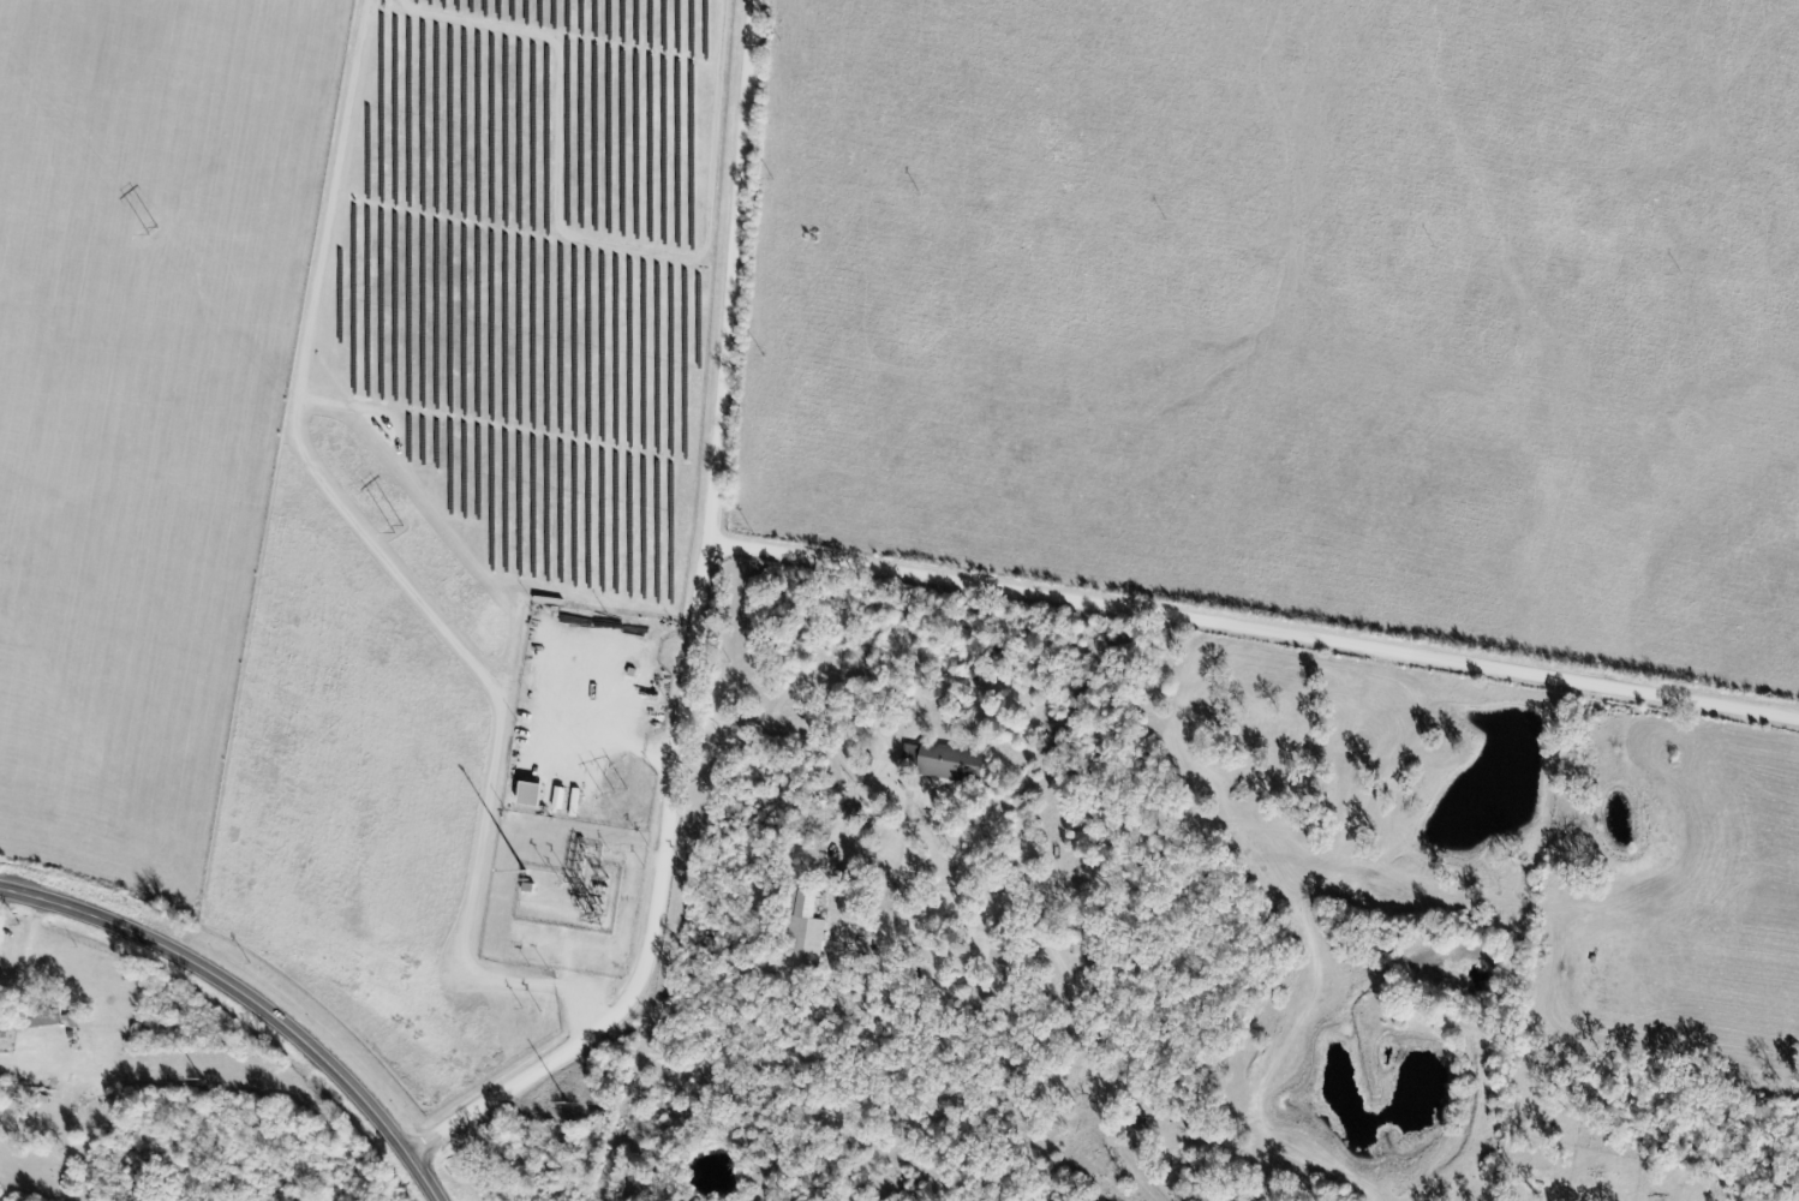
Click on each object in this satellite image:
power tower: (154, 232)
power tower: (399, 527)
road: (1255, 632)
road: (699, 637)
building: (955, 764)
power tower: (615, 793)
building: (536, 796)
power substation: (573, 891)
power tower: (599, 916)
building: (808, 940)
road: (252, 998)

